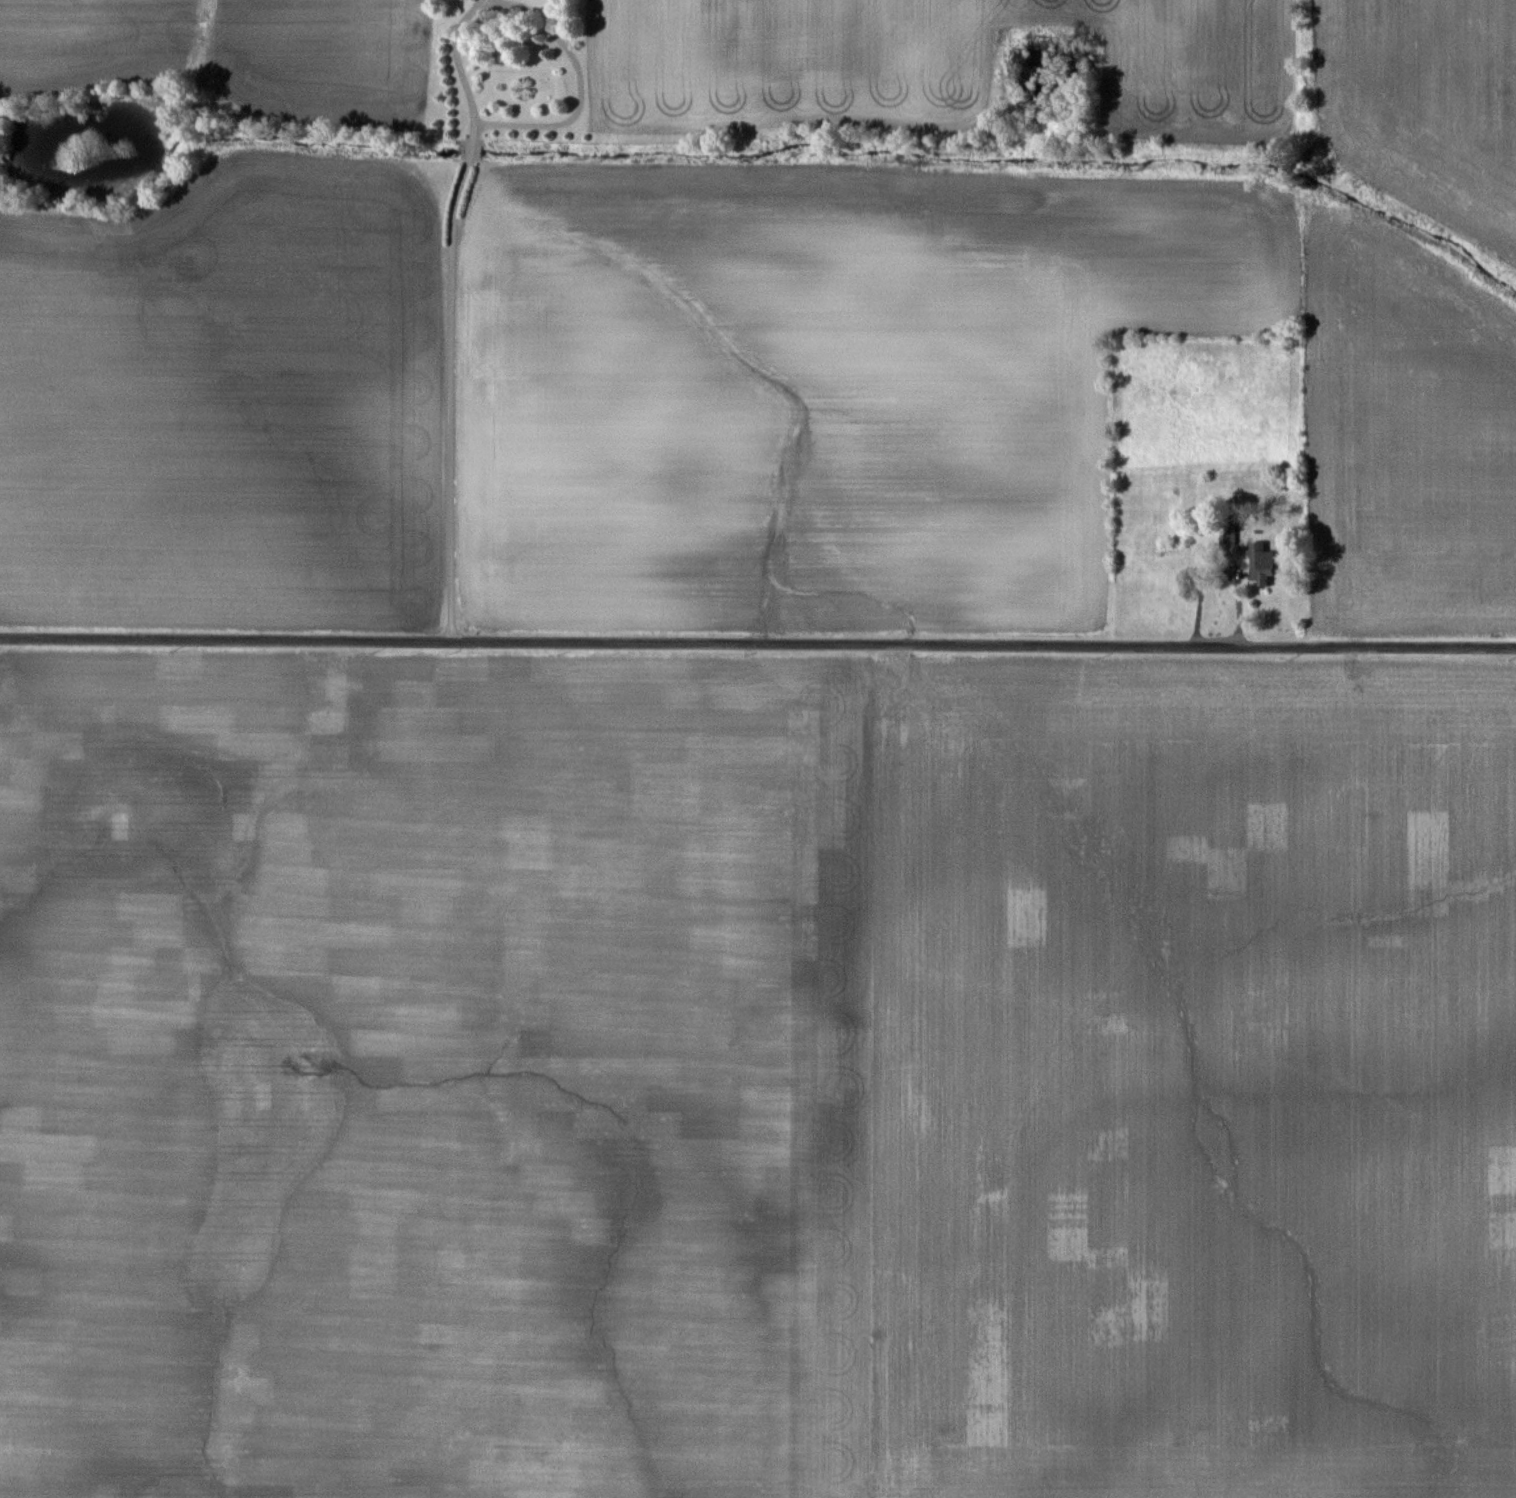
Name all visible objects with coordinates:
road: (492, 1)
road: (461, 176)
building: (1259, 564)
road: (757, 642)

